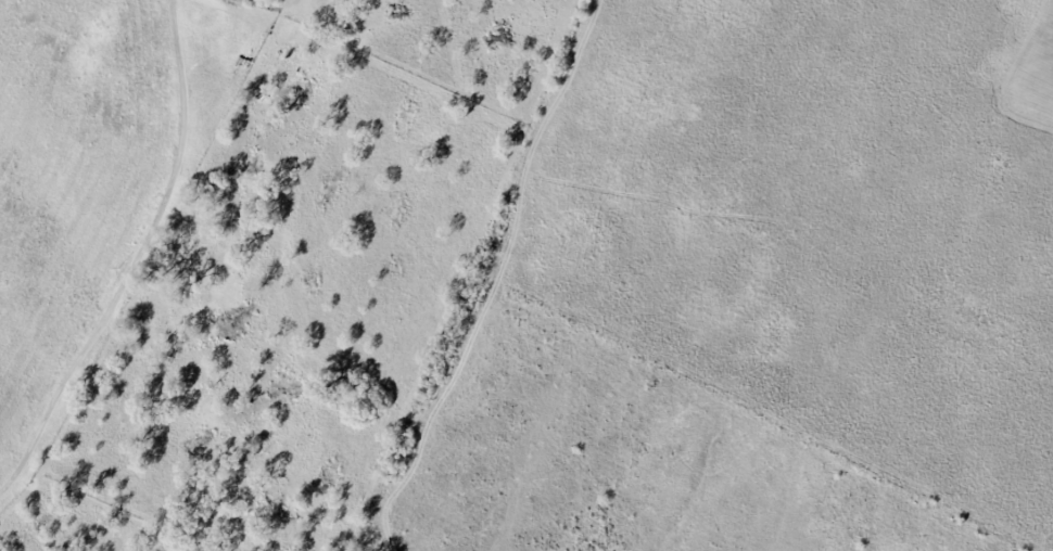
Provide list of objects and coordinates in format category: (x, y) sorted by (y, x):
road: (137, 261)

